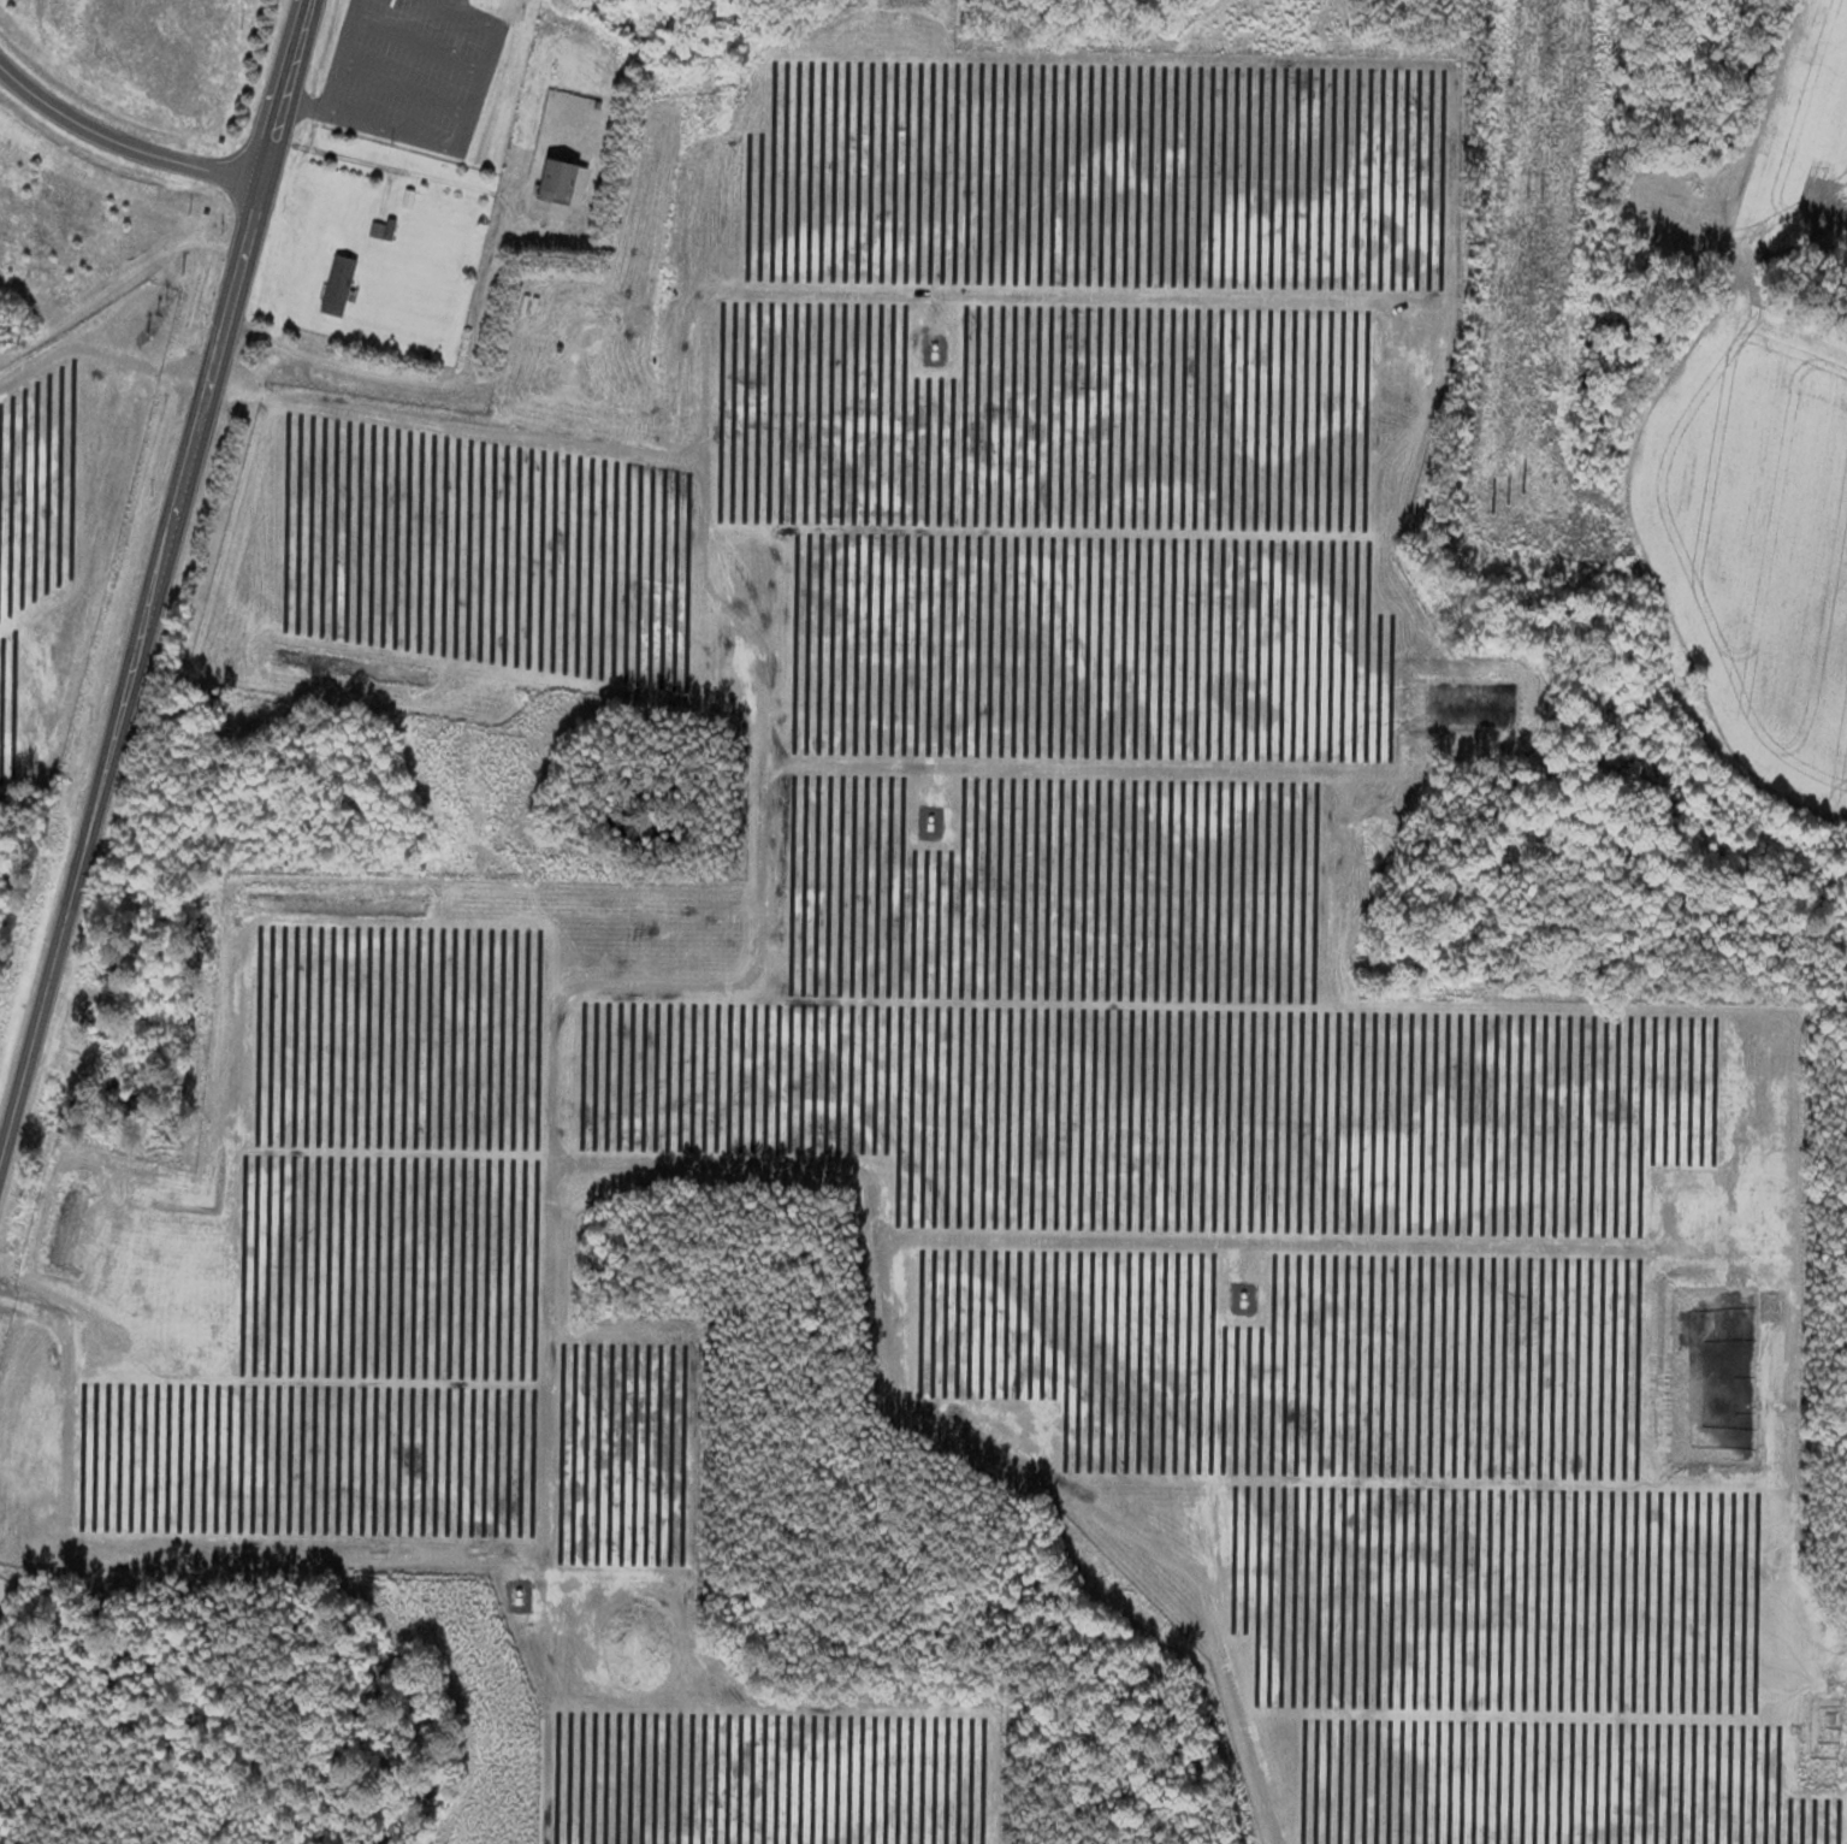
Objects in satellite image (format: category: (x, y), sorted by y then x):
road: (468, 13)
road: (418, 40)
road: (337, 53)
road: (476, 89)
road: (371, 124)
building: (564, 182)
building: (341, 285)
road: (487, 291)
road: (156, 587)
building: (116, 962)
road: (557, 1068)
road: (350, 1544)

